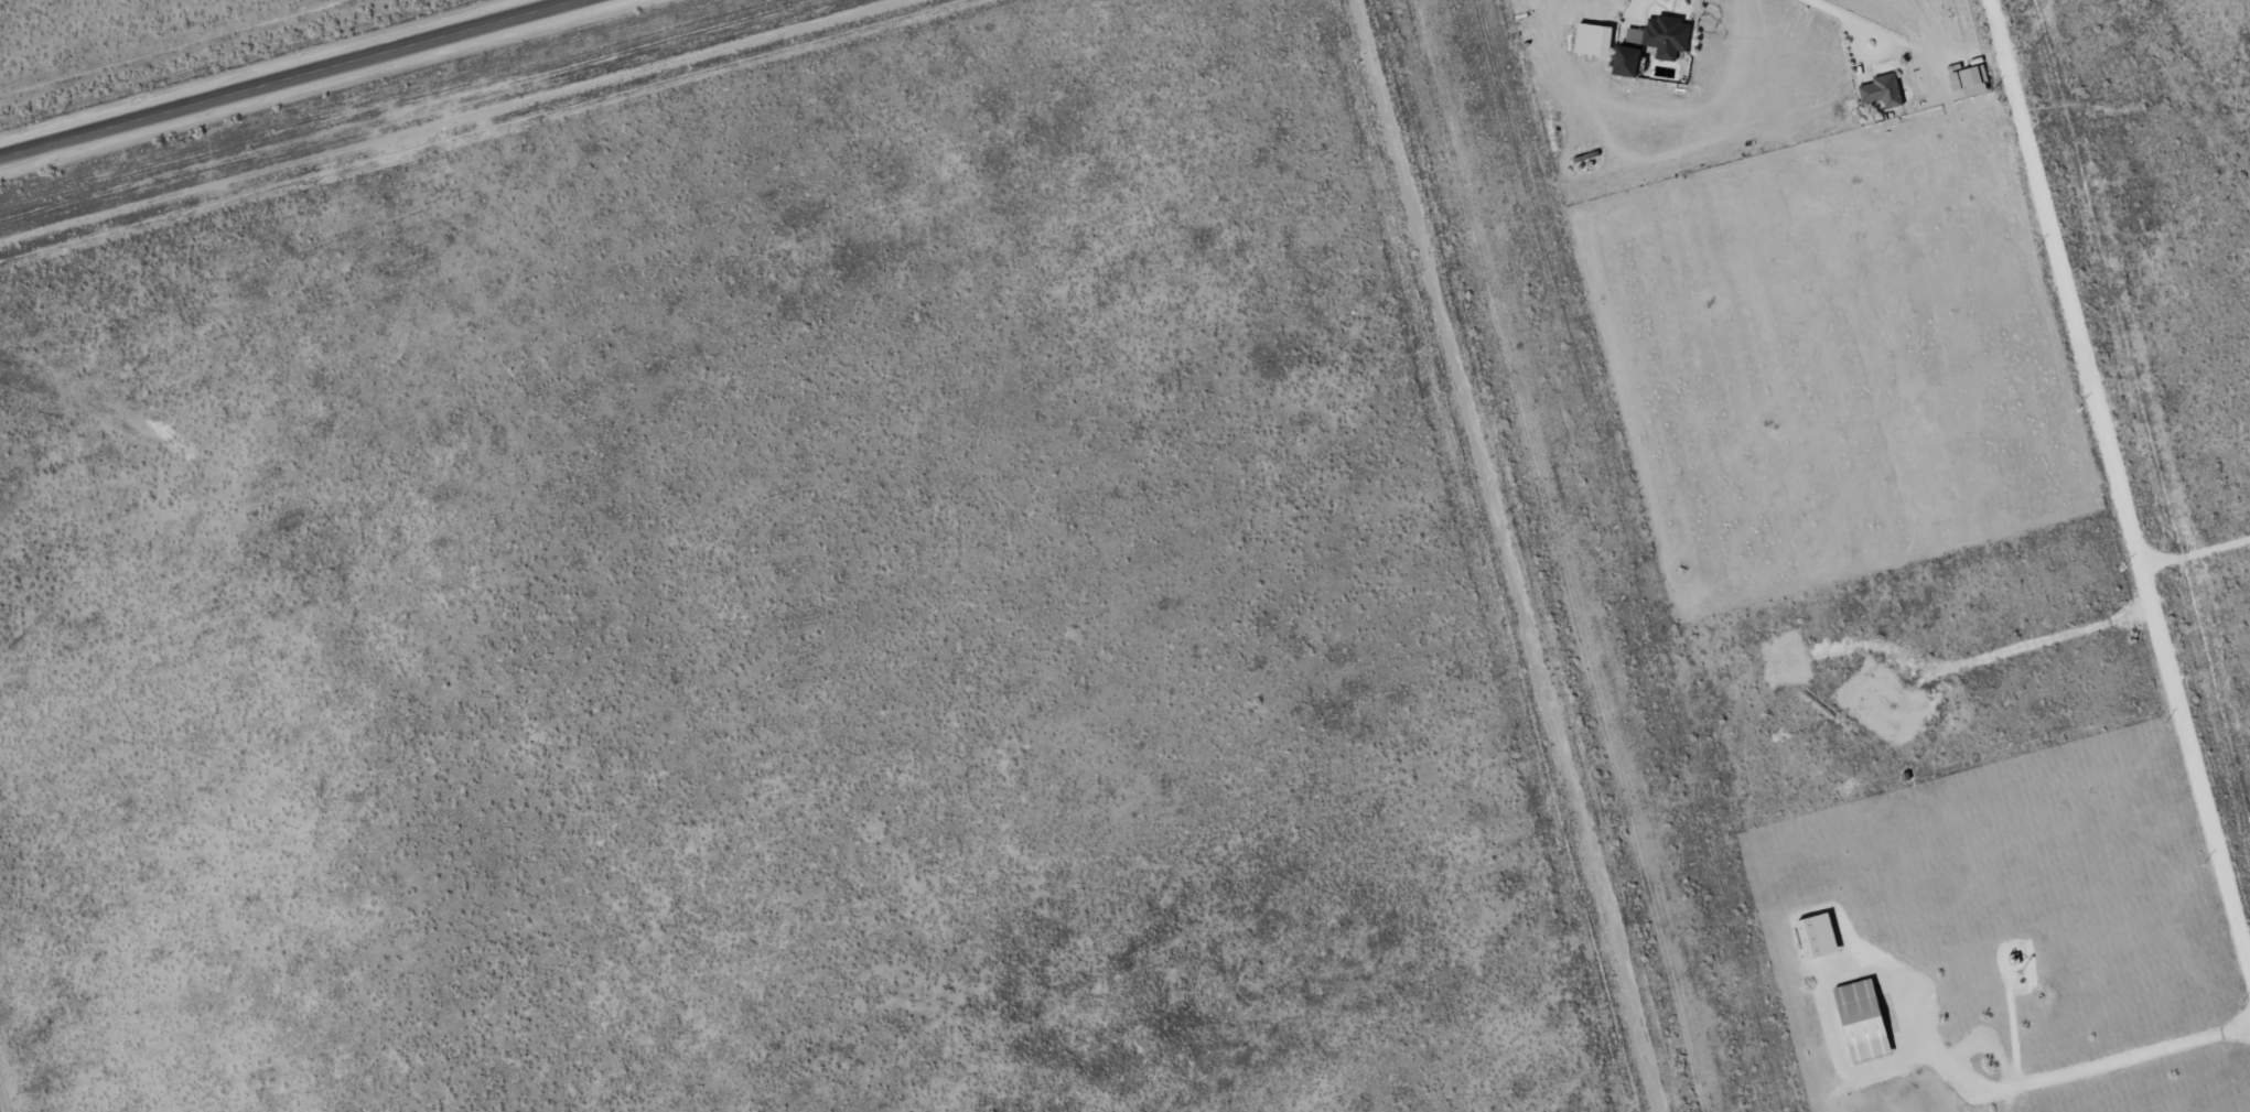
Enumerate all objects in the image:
road: (1842, 15)
building: (1595, 40)
road: (294, 79)
building: (1972, 82)
building: (1883, 91)
road: (2127, 463)
building: (1819, 937)
building: (1864, 1021)

